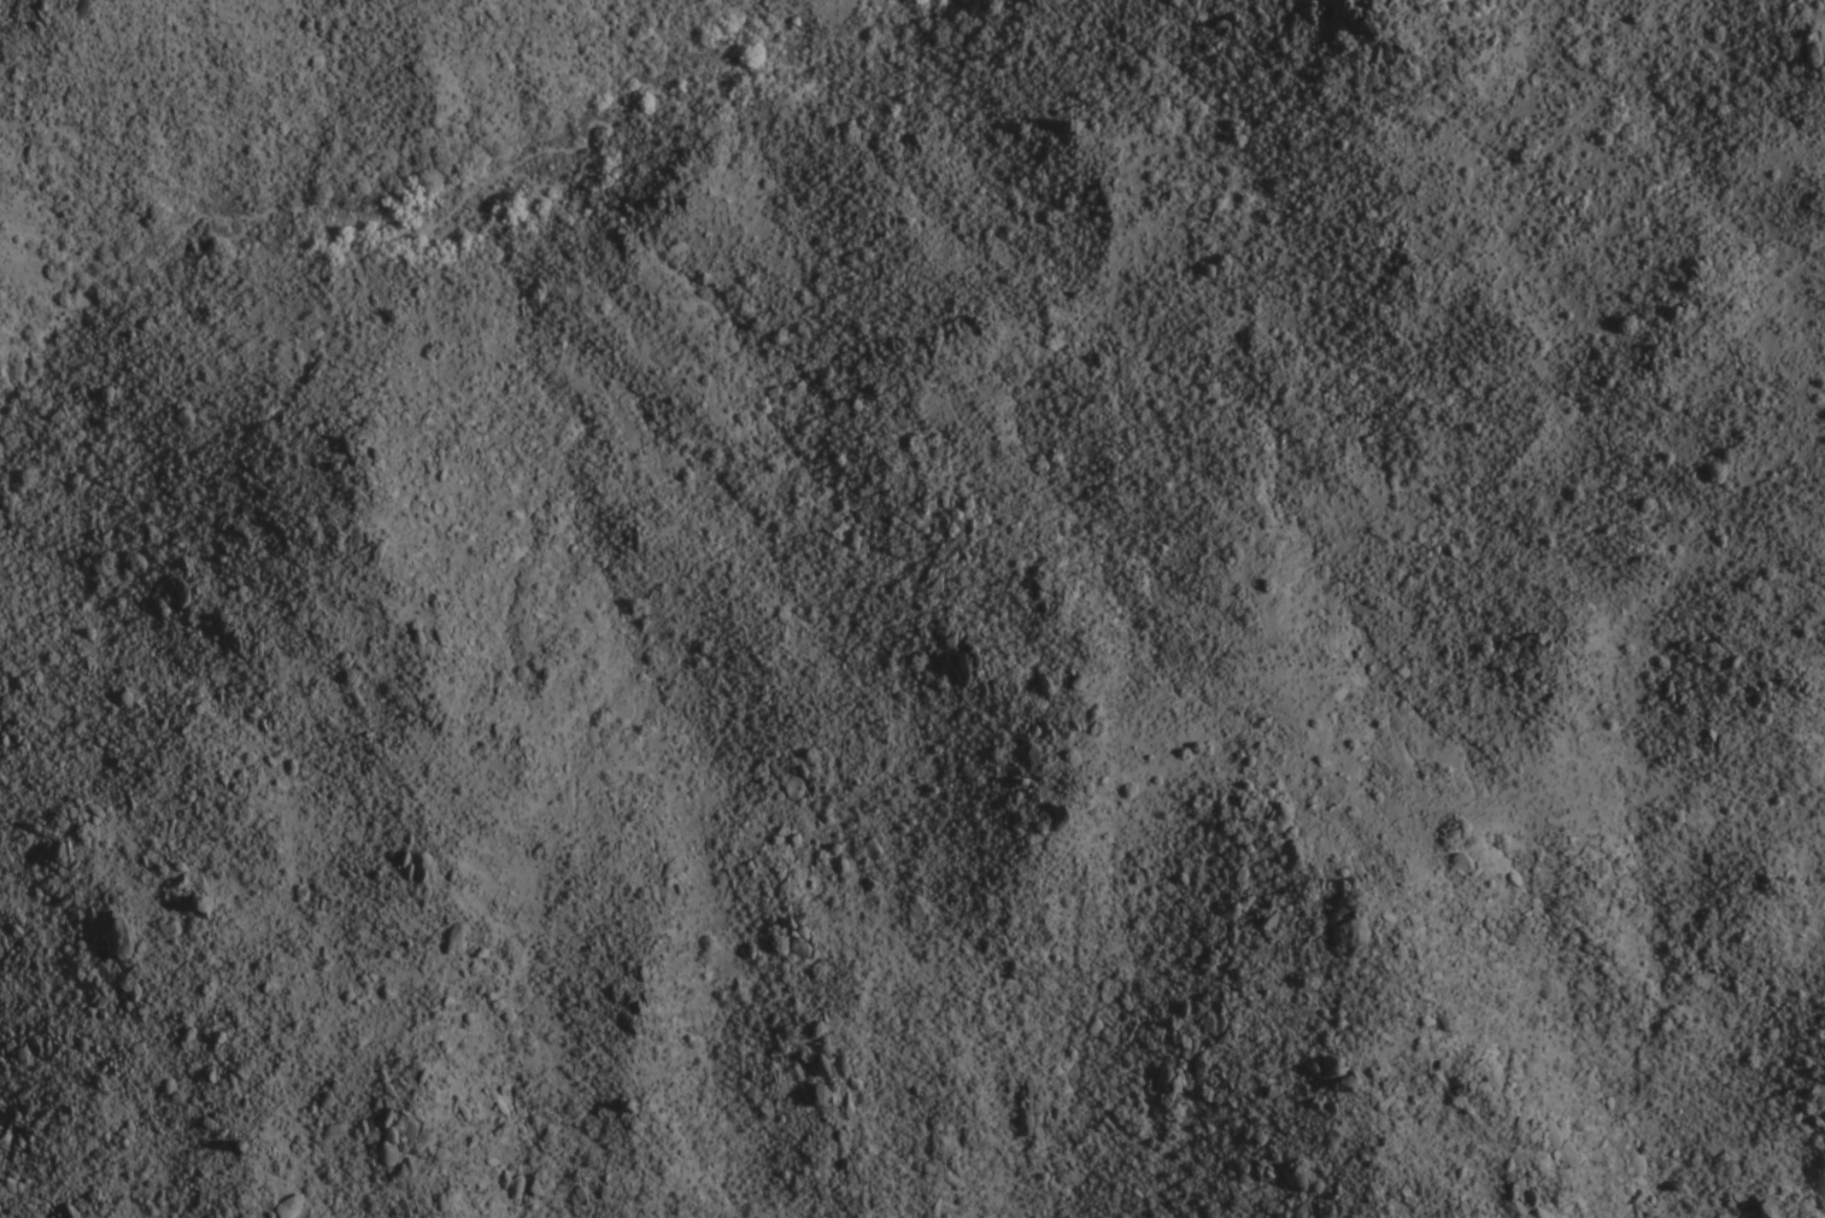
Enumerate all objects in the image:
building: (1333, 1065)

